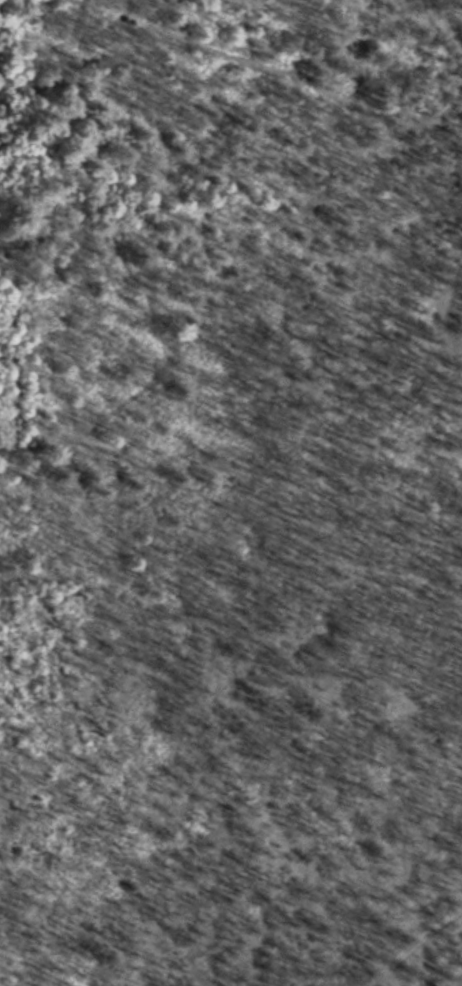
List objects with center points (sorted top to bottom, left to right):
road: (92, 362)
road: (415, 934)
road: (1, 971)

